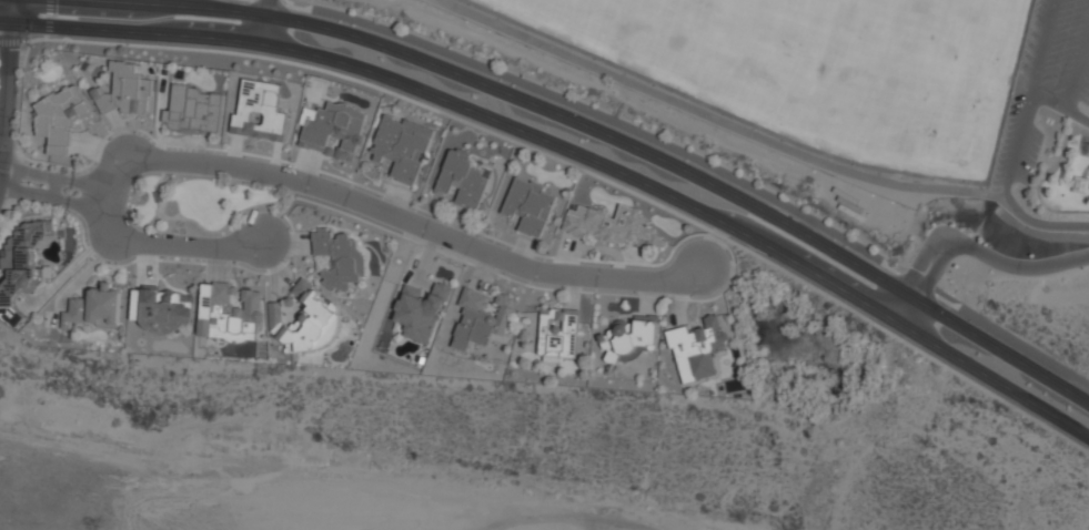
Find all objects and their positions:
road: (8, 9)
road: (16, 9)
road: (263, 21)
parking lot: (1032, 38)
parking lot: (1063, 42)
road: (1041, 47)
park: (821, 65)
road: (1078, 68)
parking lot: (1085, 86)
road: (4, 89)
building: (127, 91)
road: (1060, 105)
building: (194, 110)
building: (260, 110)
building: (59, 118)
park: (845, 121)
building: (335, 130)
parking lot: (1007, 140)
road: (805, 145)
road: (1017, 145)
building: (402, 147)
road: (625, 147)
road: (0, 151)
road: (571, 151)
parking lot: (1030, 155)
road: (53, 177)
building: (461, 181)
road: (305, 183)
road: (51, 198)
building: (531, 205)
road: (1040, 224)
building: (612, 225)
road: (970, 249)
building: (341, 257)
building: (21, 267)
building: (94, 308)
building: (165, 310)
building: (421, 310)
building: (228, 312)
building: (482, 318)
building: (304, 319)
building: (558, 335)
building: (632, 337)
building: (698, 349)

